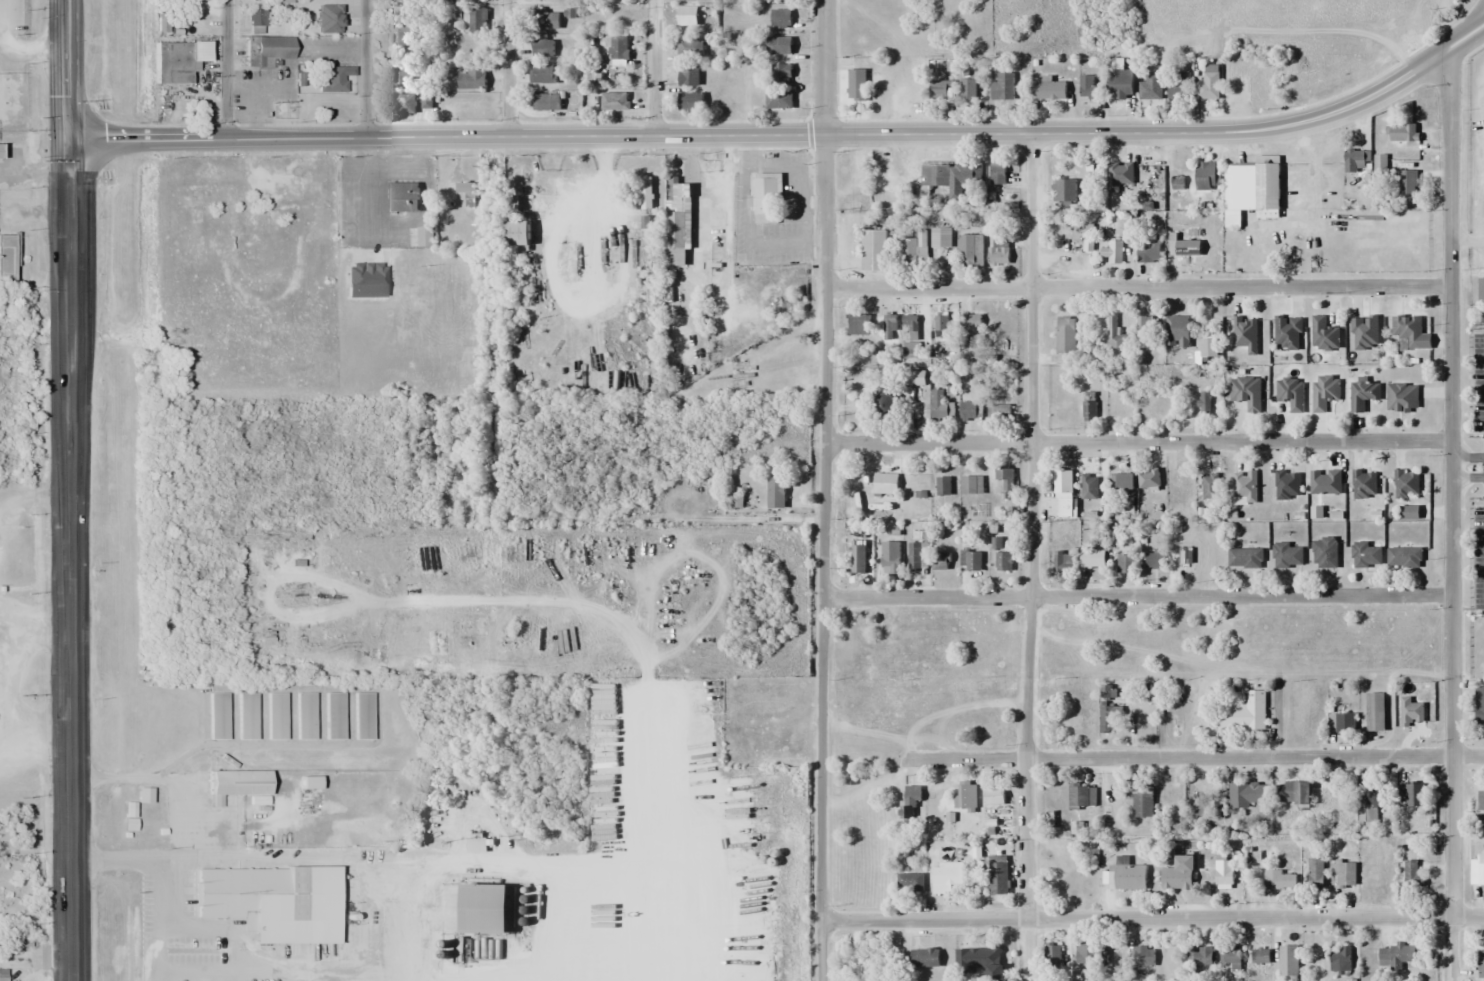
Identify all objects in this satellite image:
building: (469, 1)
building: (780, 17)
building: (257, 18)
building: (337, 19)
building: (542, 19)
building: (475, 20)
road: (1480, 20)
building: (401, 32)
building: (619, 46)
building: (779, 46)
building: (543, 47)
building: (267, 48)
building: (178, 59)
road: (508, 67)
road: (653, 67)
road: (225, 68)
road: (367, 68)
building: (779, 73)
building: (542, 74)
building: (688, 74)
building: (333, 78)
building: (472, 78)
building: (1121, 83)
building: (856, 84)
building: (1179, 85)
building: (1208, 85)
building: (968, 86)
building: (1088, 86)
building: (1151, 86)
building: (1003, 87)
building: (938, 89)
building: (1051, 90)
building: (779, 99)
building: (545, 101)
building: (691, 101)
building: (615, 102)
building: (401, 103)
building: (1403, 132)
road: (788, 133)
traffic signals: (66, 138)
building: (0, 150)
building: (1355, 160)
building: (1379, 164)
building: (997, 173)
building: (1207, 175)
building: (950, 176)
building: (1120, 176)
building: (1093, 181)
building: (1407, 182)
building: (465, 187)
building: (1252, 189)
building: (239, 191)
building: (1064, 192)
building: (646, 193)
building: (403, 196)
building: (766, 197)
building: (677, 220)
building: (517, 233)
building: (425, 236)
building: (941, 238)
building: (1187, 247)
building: (1115, 248)
building: (913, 249)
building: (1148, 249)
building: (875, 250)
building: (970, 251)
building: (998, 256)
building: (7, 258)
road: (1136, 287)
building: (1480, 289)
building: (859, 324)
building: (909, 325)
building: (941, 325)
building: (889, 326)
building: (971, 328)
building: (1408, 329)
building: (1145, 331)
building: (1177, 331)
building: (1287, 332)
building: (1115, 333)
building: (1364, 333)
building: (1245, 334)
building: (1323, 334)
building: (1066, 335)
building: (1207, 347)
road: (1030, 364)
building: (1246, 392)
building: (1362, 394)
building: (1402, 398)
building: (940, 403)
building: (1205, 403)
building: (885, 405)
building: (1089, 406)
building: (969, 411)
building: (999, 411)
road: (1136, 441)
road: (823, 460)
building: (1005, 476)
building: (1148, 478)
building: (1123, 480)
building: (1179, 480)
building: (1325, 482)
building: (886, 484)
building: (972, 484)
building: (1364, 484)
building: (1406, 484)
building: (1287, 485)
building: (943, 486)
building: (1089, 486)
building: (1210, 486)
building: (1244, 487)
road: (67, 490)
railway: (129, 490)
building: (1062, 492)
building: (776, 493)
road: (1450, 513)
building: (1325, 553)
building: (1287, 555)
building: (1366, 555)
building: (916, 556)
building: (1185, 556)
building: (890, 557)
building: (1404, 557)
building: (1093, 558)
building: (1244, 558)
building: (971, 560)
building: (941, 561)
building: (1062, 561)
building: (1155, 561)
building: (1003, 562)
road: (1137, 594)
building: (1479, 707)
building: (1244, 712)
building: (1375, 712)
building: (1107, 714)
building: (275, 715)
building: (334, 715)
building: (218, 716)
building: (247, 716)
building: (305, 716)
building: (363, 716)
building: (1341, 724)
road: (1028, 758)
road: (1197, 758)
building: (237, 782)
building: (1291, 793)
building: (145, 794)
building: (1243, 795)
building: (1413, 795)
building: (966, 797)
building: (994, 797)
building: (1082, 797)
building: (911, 801)
building: (1480, 801)
building: (1142, 802)
building: (1368, 806)
road: (185, 818)
road: (416, 862)
building: (1480, 870)
building: (1178, 874)
building: (1224, 874)
building: (1346, 874)
building: (1128, 875)
building: (1412, 876)
building: (998, 877)
building: (1315, 877)
building: (947, 878)
building: (1280, 880)
building: (910, 883)
building: (272, 901)
building: (485, 909)
road: (160, 918)
road: (1153, 919)
building: (21, 937)
road: (822, 951)
building: (1053, 954)
building: (1088, 955)
building: (1261, 955)
building: (1143, 956)
building: (1203, 956)
building: (1397, 956)
building: (924, 957)
building: (978, 959)
building: (1231, 959)
building: (1339, 960)
building: (1288, 961)
building: (1481, 963)

